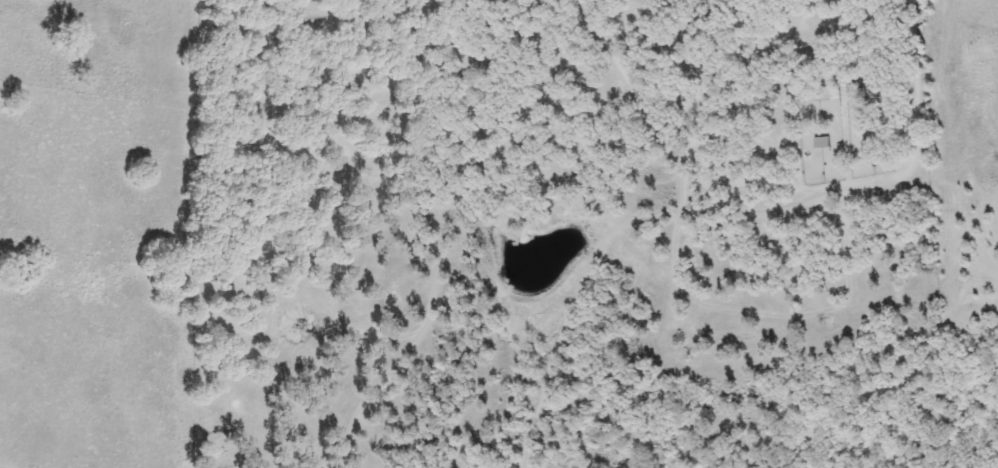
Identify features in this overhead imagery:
road: (656, 120)
building: (869, 140)
building: (819, 142)

